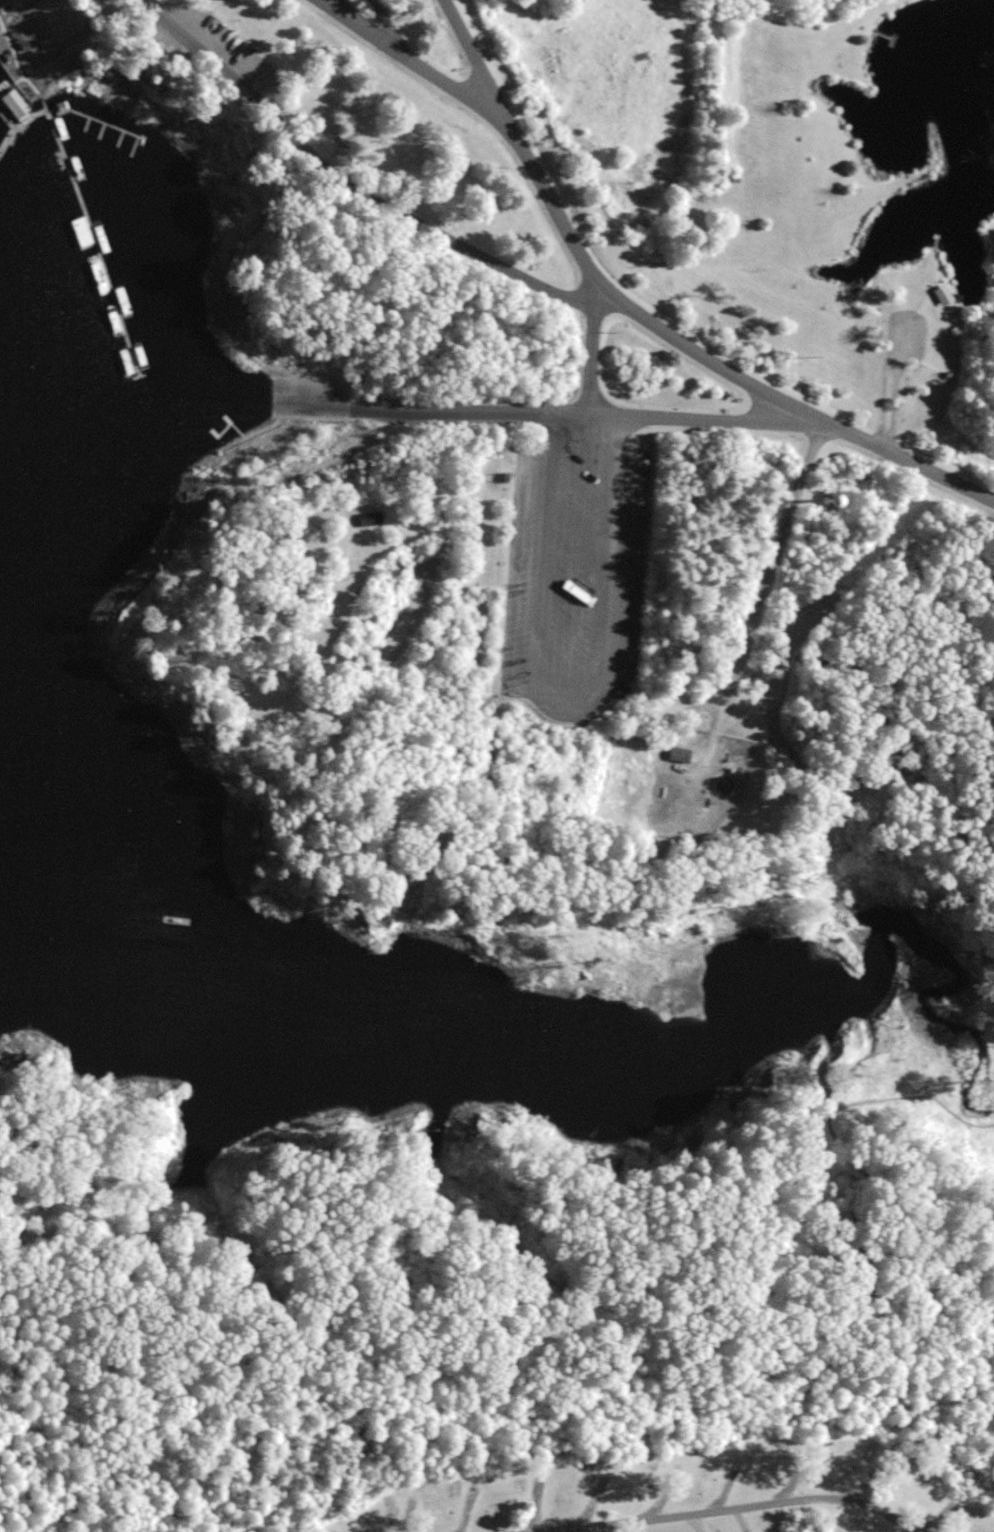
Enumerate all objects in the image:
road: (345, 20)
road: (471, 54)
building: (12, 103)
road: (357, 181)
road: (563, 223)
road: (745, 255)
building: (942, 295)
parking lot: (906, 337)
road: (592, 350)
building: (948, 374)
road: (889, 389)
road: (591, 415)
road: (779, 419)
road: (908, 460)
water tower: (830, 503)
road: (884, 545)
road: (758, 603)
road: (571, 677)
building: (620, 692)
road: (380, 1101)
road: (11, 1389)
road: (11, 1421)
road: (226, 1474)
road: (699, 1506)

